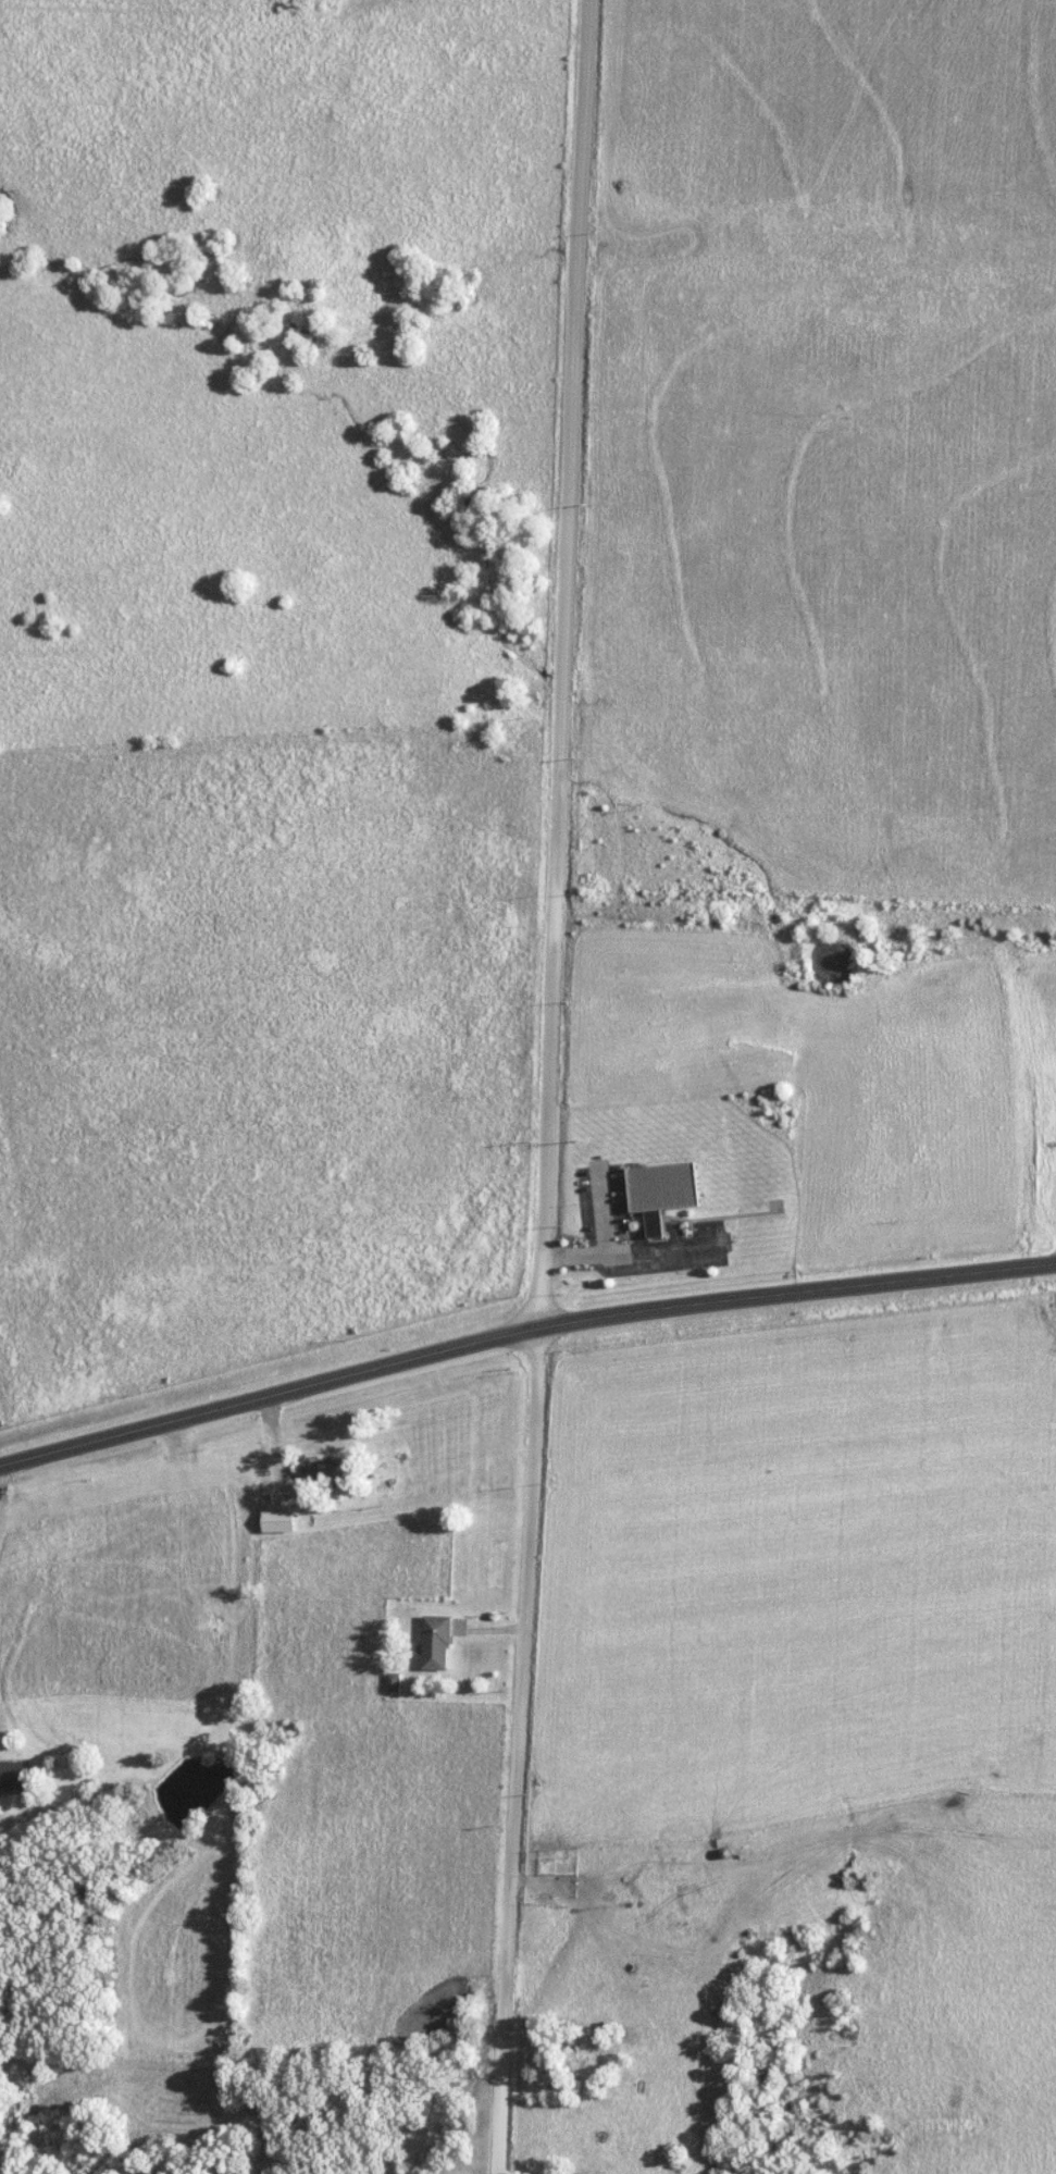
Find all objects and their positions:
building: (1052, 132)
building: (917, 297)
building: (845, 570)
building: (869, 633)
road: (563, 662)
building: (659, 1190)
road: (918, 1276)
road: (386, 1362)
building: (276, 1520)
building: (434, 1643)
road: (517, 1749)
building: (12, 1777)

